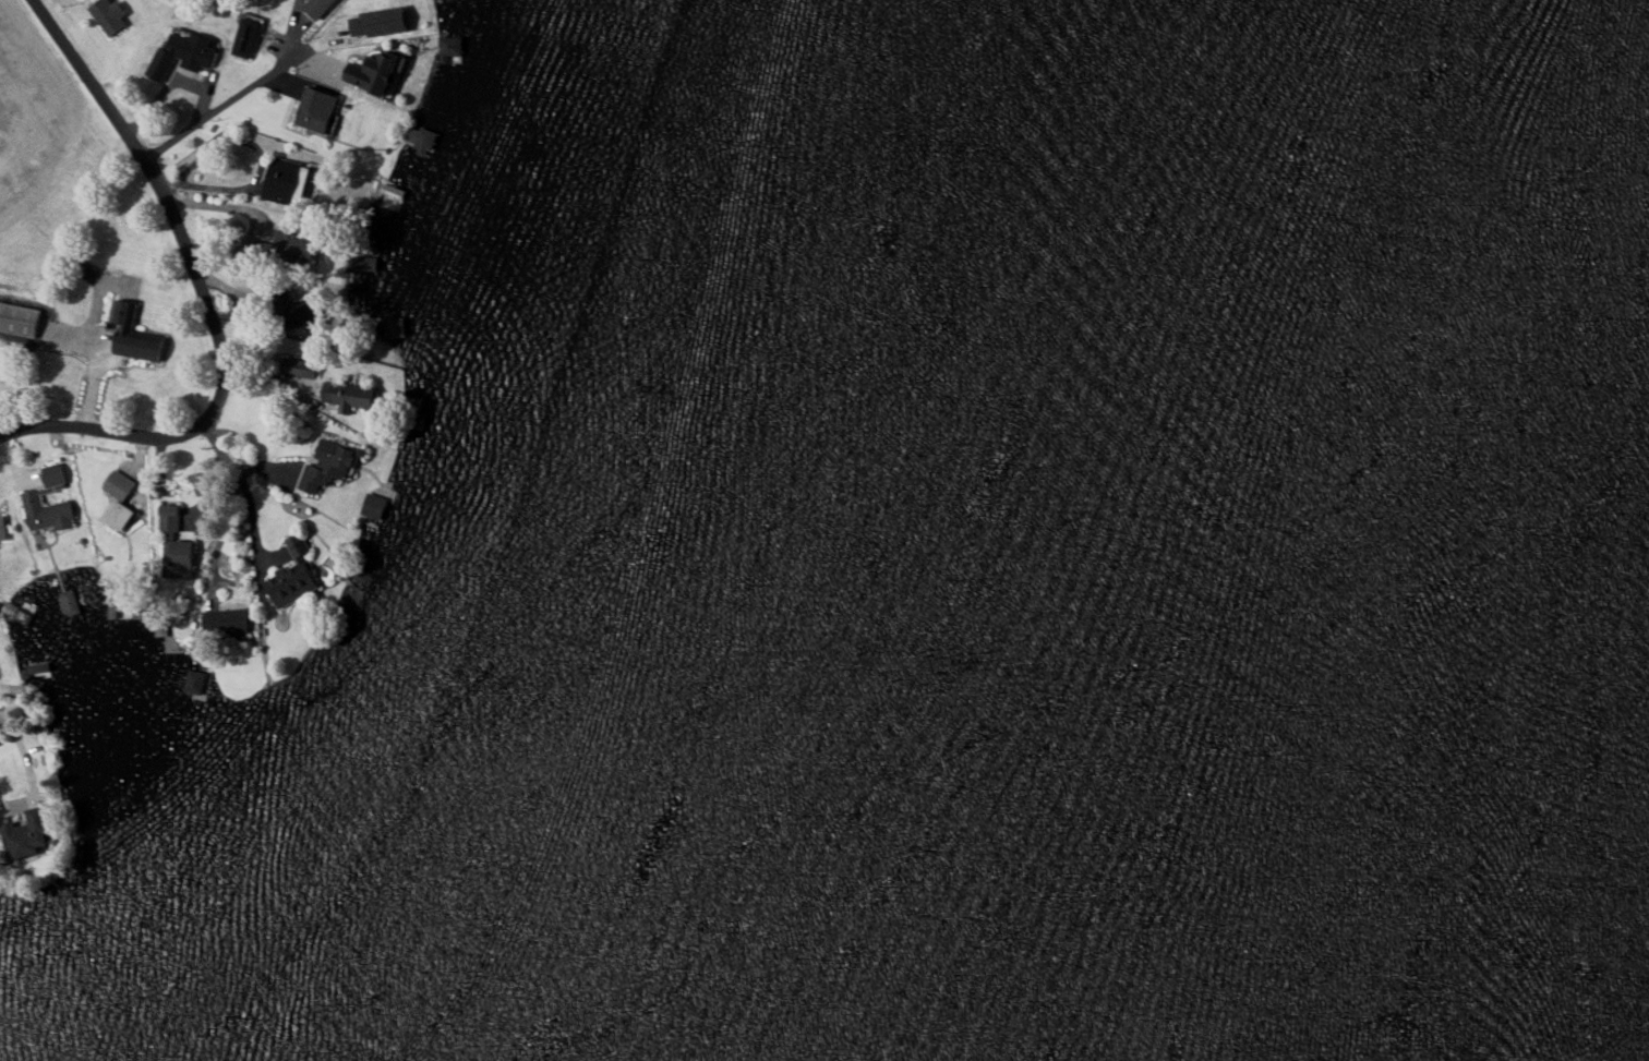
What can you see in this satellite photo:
building: (316, 7)
building: (109, 15)
building: (381, 22)
building: (246, 35)
building: (452, 49)
building: (194, 51)
building: (377, 72)
road: (214, 109)
building: (316, 109)
building: (421, 140)
building: (282, 184)
road: (203, 294)
building: (309, 312)
building: (19, 319)
building: (394, 324)
building: (133, 335)
building: (360, 397)
building: (328, 466)
building: (119, 484)
building: (32, 496)
building: (374, 506)
building: (119, 515)
building: (2, 529)
river: (1394, 530)
building: (176, 546)
building: (292, 579)
building: (70, 602)
building: (226, 623)
building: (195, 682)
building: (28, 835)

